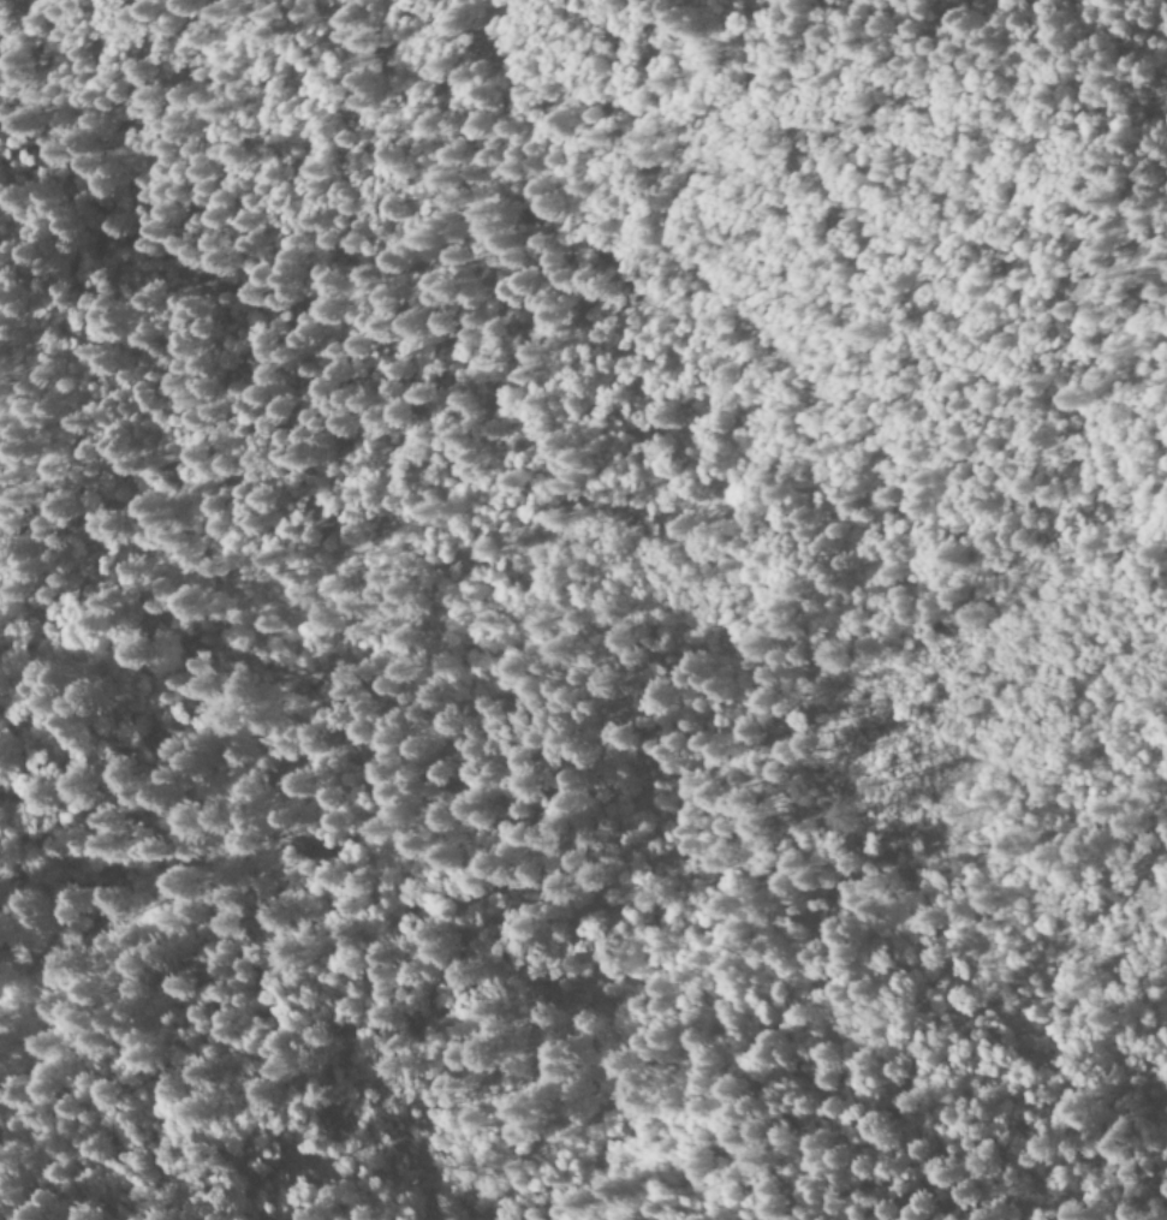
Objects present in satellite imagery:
road: (887, 308)

